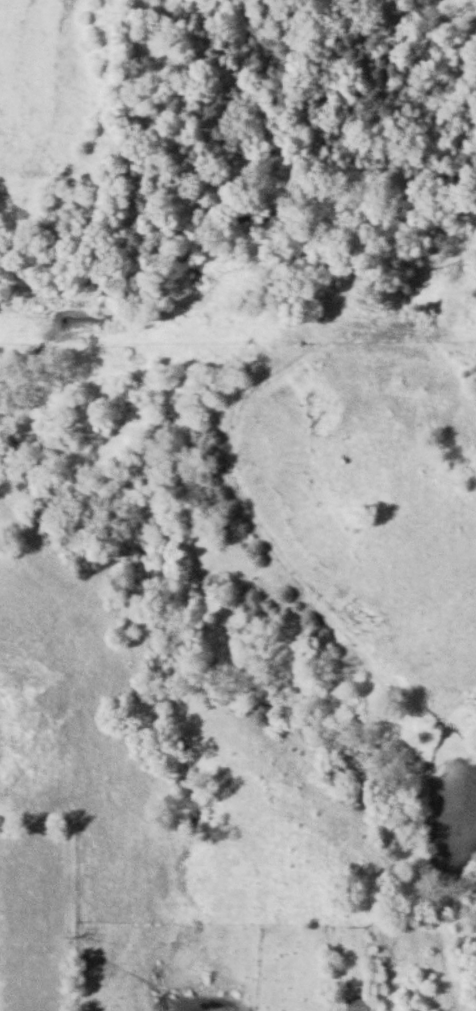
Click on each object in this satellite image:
building: (358, 1004)

